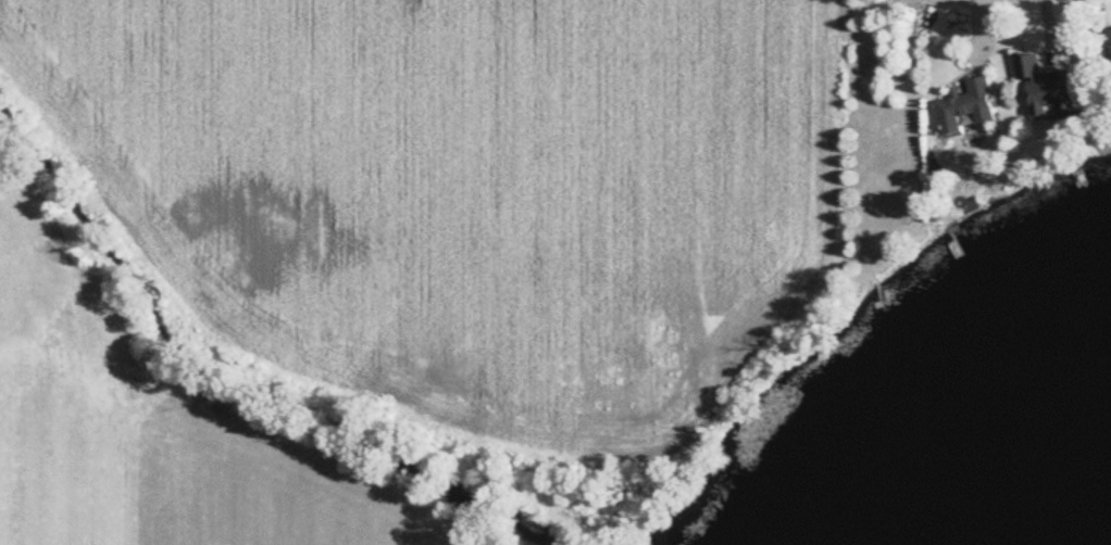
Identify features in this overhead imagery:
building: (1049, 87)
building: (970, 106)

